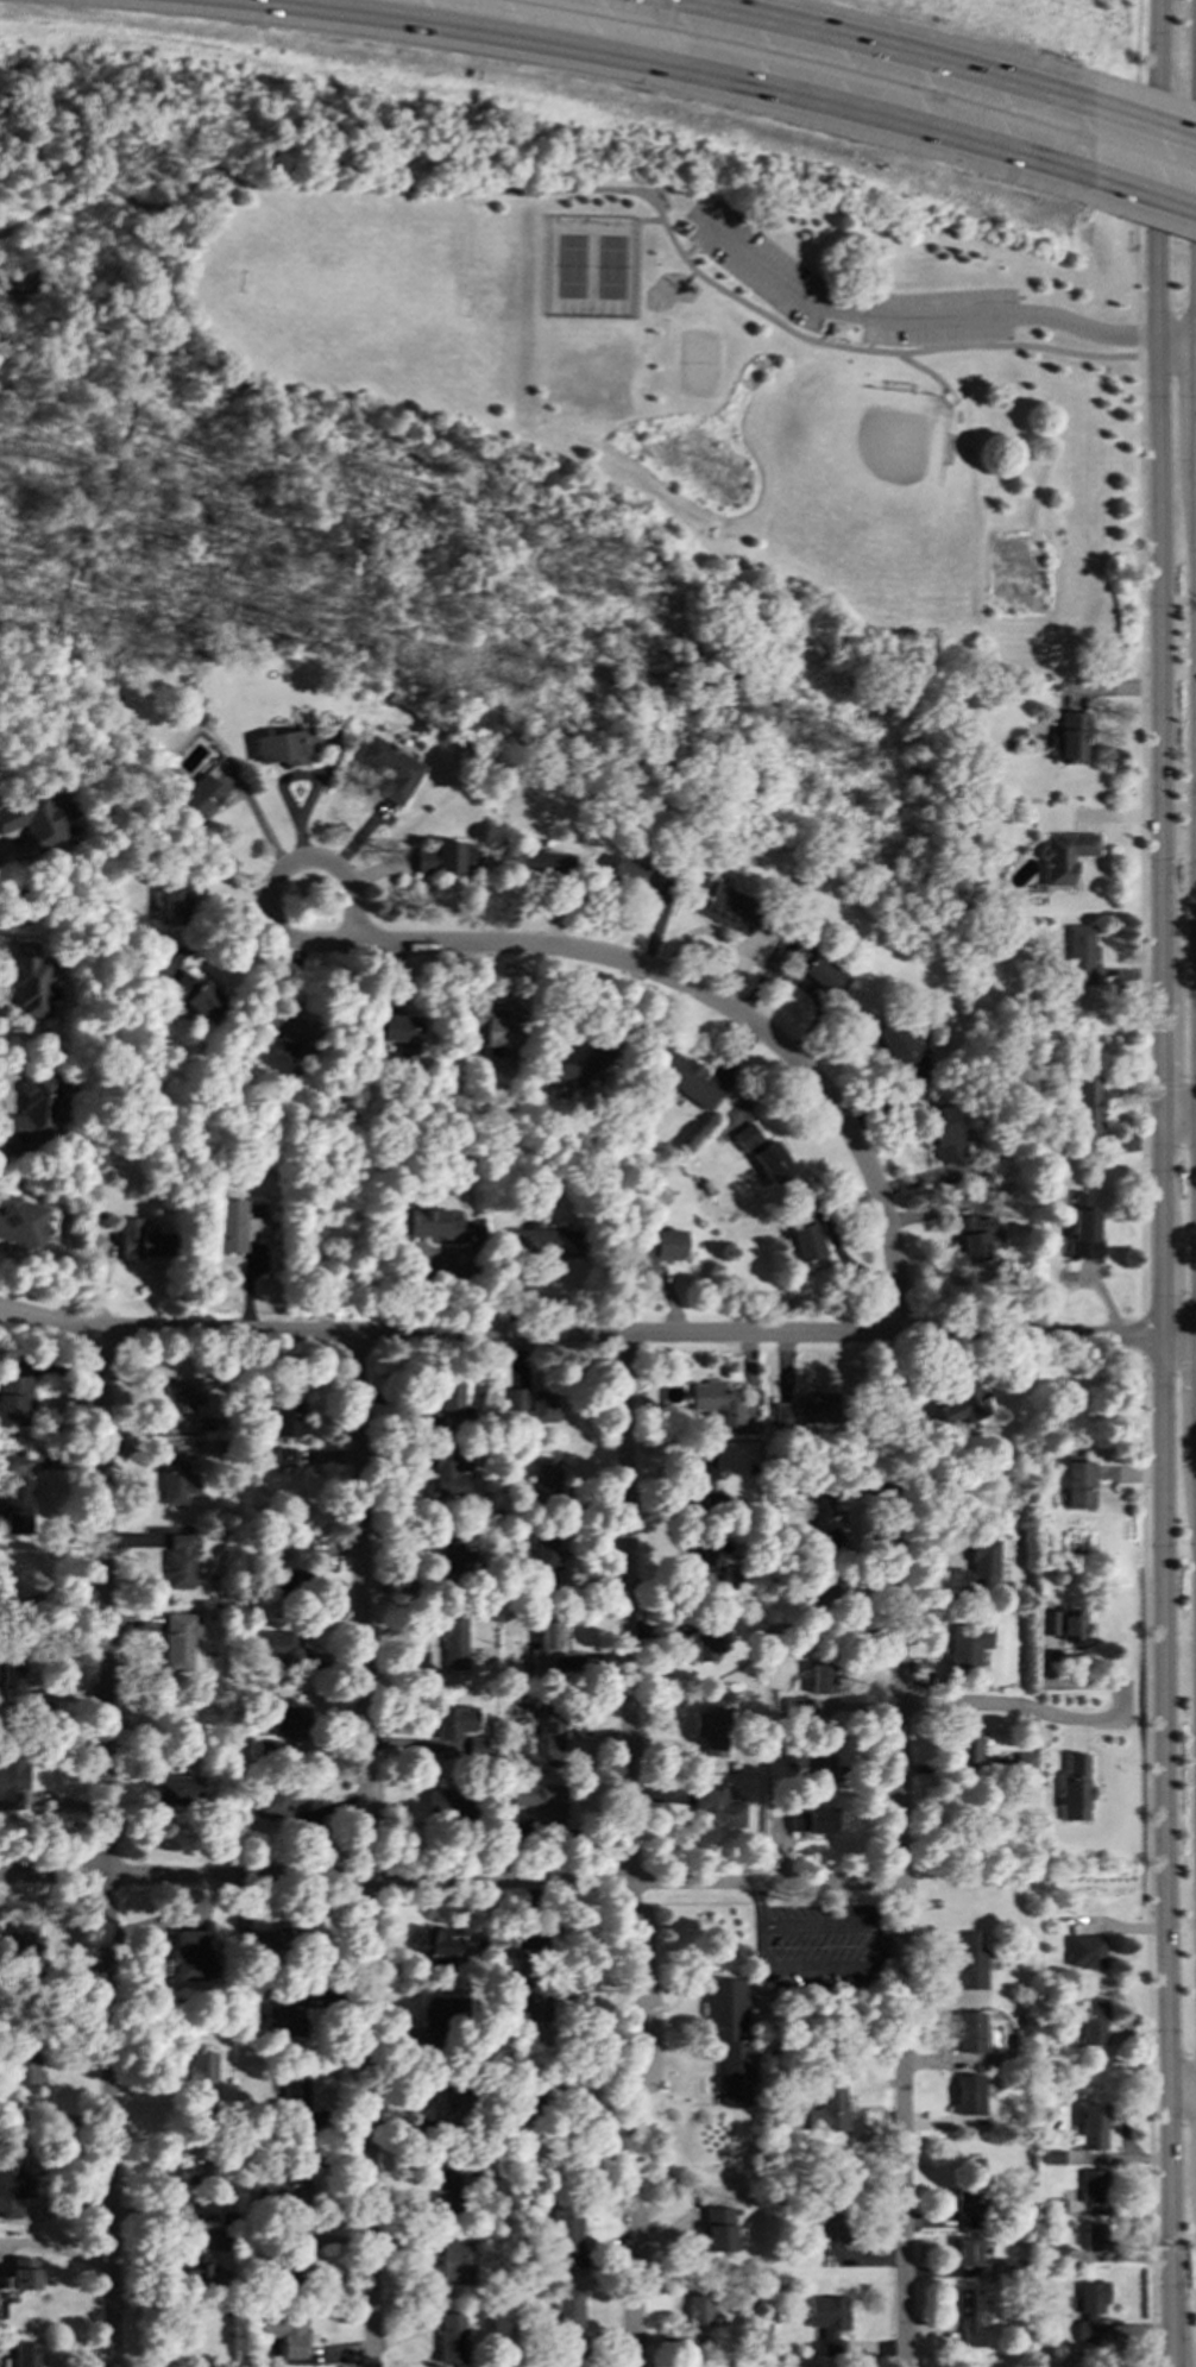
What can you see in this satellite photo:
road: (898, 52)
road: (688, 71)
road: (1160, 133)
road: (1135, 178)
road: (585, 190)
road: (1162, 201)
road: (649, 220)
road: (695, 239)
park: (590, 267)
parking lot: (844, 290)
park: (352, 296)
road: (940, 316)
building: (838, 331)
road: (871, 333)
park: (697, 363)
road: (925, 371)
park: (553, 391)
park: (867, 458)
road: (99, 496)
building: (1066, 736)
building: (284, 745)
building: (386, 768)
building: (206, 792)
road: (1140, 836)
building: (1063, 856)
building: (441, 858)
building: (542, 863)
building: (632, 875)
road: (270, 889)
building: (171, 906)
building: (725, 908)
building: (1081, 955)
building: (814, 968)
building: (29, 982)
building: (197, 996)
road: (724, 1007)
building: (491, 1027)
building: (285, 1031)
building: (398, 1031)
building: (904, 1055)
building: (578, 1070)
building: (681, 1077)
road: (1169, 1087)
building: (1085, 1108)
building: (32, 1114)
road: (1179, 1121)
building: (942, 1134)
building: (745, 1139)
building: (772, 1164)
road: (1164, 1183)
building: (433, 1225)
building: (239, 1227)
building: (1082, 1229)
building: (804, 1233)
building: (972, 1235)
building: (141, 1240)
building: (541, 1241)
building: (656, 1246)
road: (597, 1334)
road: (1141, 1335)
road: (1169, 1365)
building: (182, 1398)
building: (717, 1399)
building: (12, 1400)
building: (449, 1403)
building: (533, 1404)
building: (807, 1411)
building: (289, 1419)
building: (451, 1473)
building: (546, 1481)
building: (700, 1481)
building: (176, 1484)
building: (1078, 1484)
building: (18, 1505)
building: (826, 1522)
building: (455, 1555)
building: (180, 1561)
building: (977, 1563)
building: (553, 1566)
building: (291, 1567)
building: (731, 1579)
road: (50, 1592)
building: (820, 1594)
building: (1047, 1623)
building: (1071, 1625)
building: (180, 1641)
building: (710, 1641)
building: (455, 1644)
building: (546, 1647)
building: (278, 1648)
building: (965, 1648)
building: (820, 1679)
road: (1058, 1714)
building: (291, 1720)
building: (453, 1721)
building: (712, 1730)
building: (550, 1736)
building: (964, 1748)
building: (1022, 1762)
building: (811, 1763)
building: (13, 1780)
building: (1074, 1788)
building: (177, 1789)
building: (541, 1800)
building: (445, 1802)
building: (270, 1805)
building: (716, 1809)
building: (812, 1821)
road: (105, 1847)
road: (628, 1850)
road: (363, 1851)
road: (899, 1851)
road: (1147, 1861)
road: (448, 1880)
road: (760, 1905)
building: (262, 1940)
building: (432, 1943)
road: (761, 1945)
road: (889, 1946)
building: (1085, 1952)
building: (193, 1956)
building: (968, 1963)
building: (531, 1993)
building: (285, 2017)
building: (442, 2017)
building: (1093, 2022)
building: (967, 2032)
building: (725, 2038)
building: (199, 2065)
building: (25, 2069)
road: (1183, 2091)
building: (294, 2095)
building: (967, 2095)
building: (206, 2102)
building: (829, 2105)
building: (439, 2109)
building: (1093, 2128)
building: (1053, 2158)
building: (197, 2167)
building: (449, 2177)
building: (13, 2185)
building: (1093, 2186)
building: (285, 2190)
building: (969, 2208)
building: (830, 2227)
building: (713, 2230)
building: (566, 2236)
building: (1101, 2242)
road: (53, 2246)
building: (967, 2252)
building: (1057, 2252)
building: (292, 2253)
building: (203, 2261)
building: (453, 2264)
building: (995, 2267)
road: (157, 2268)
building: (21, 2277)
building: (698, 2305)
building: (569, 2309)
building: (1089, 2309)
building: (968, 2316)
building: (829, 2322)
building: (284, 2333)
building: (448, 2337)
building: (25, 2354)
building: (1070, 2366)

